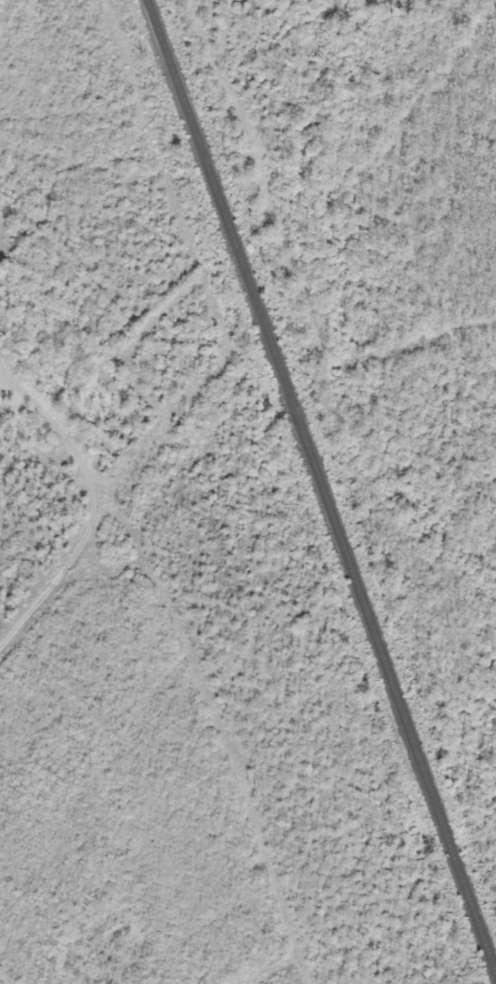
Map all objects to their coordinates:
railway: (321, 488)

